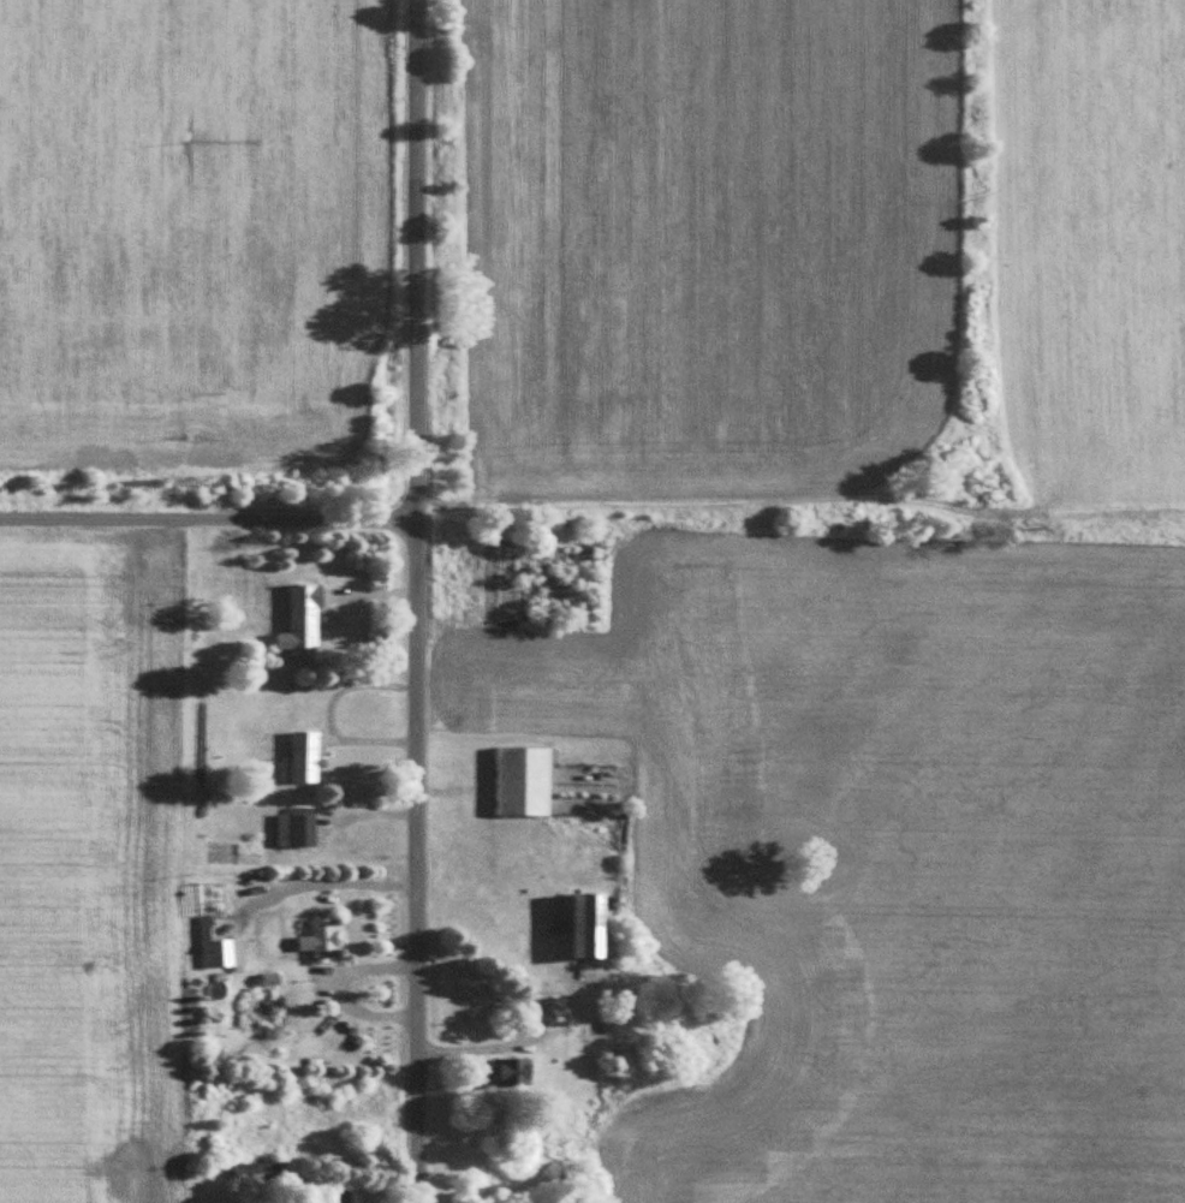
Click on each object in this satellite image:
road: (208, 522)
building: (572, 559)
road: (417, 601)
building: (304, 617)
road: (329, 715)
building: (305, 756)
building: (525, 780)
building: (297, 829)
building: (592, 924)
building: (324, 937)
building: (221, 953)
road: (335, 985)
building: (549, 1007)
road: (528, 1018)
building: (599, 1031)
building: (516, 1071)
building: (260, 1173)
building: (347, 1197)

